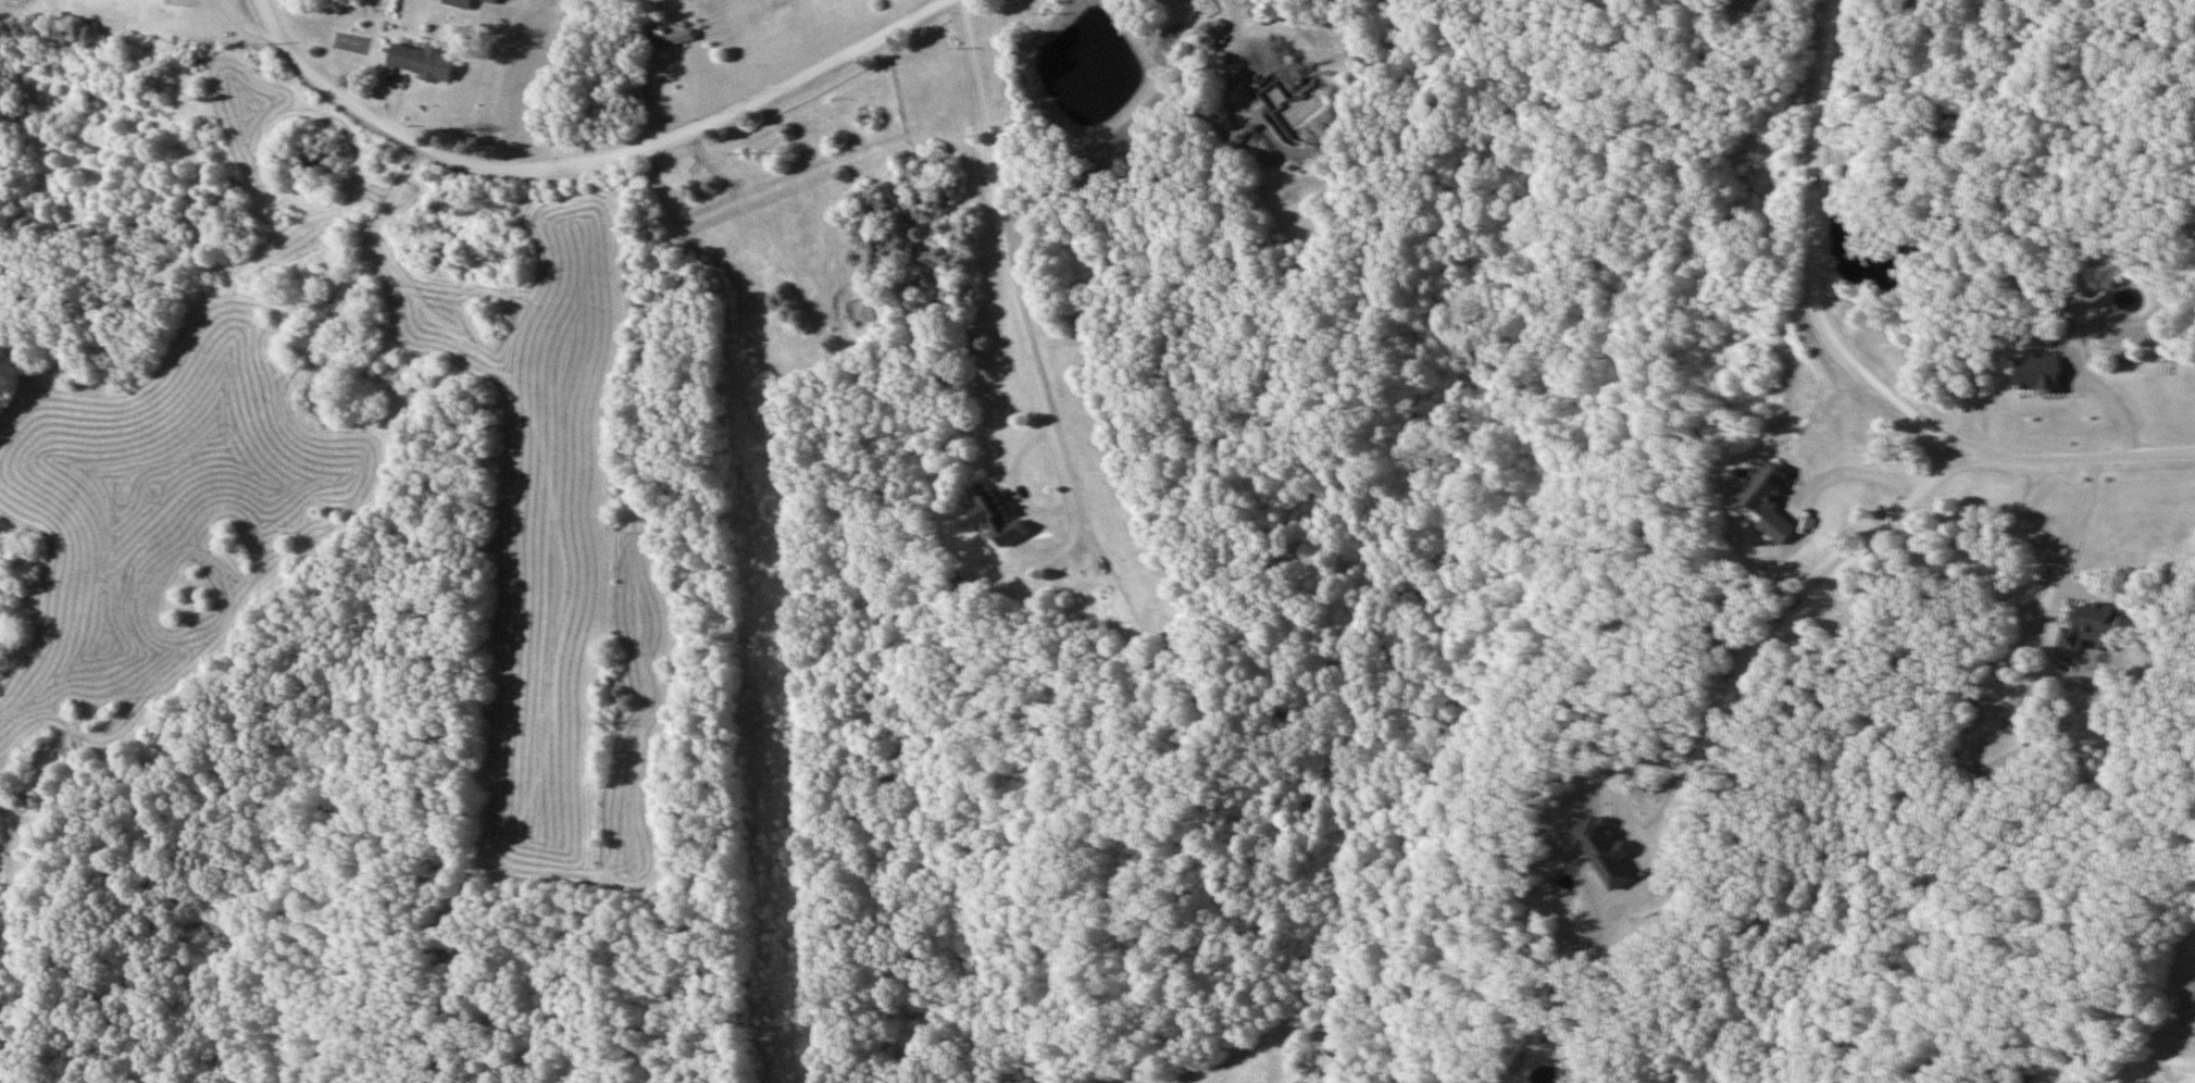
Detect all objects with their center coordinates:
building: (457, 3)
building: (673, 38)
road: (1243, 47)
building: (420, 61)
building: (1289, 104)
power tower: (750, 152)
road: (596, 161)
road: (1015, 290)
road: (1854, 360)
road: (1855, 473)
building: (1771, 502)
building: (999, 513)
power tower: (748, 568)
building: (2094, 626)
road: (2042, 672)
road: (1735, 686)
building: (2009, 755)
power tower: (770, 1040)
road: (2109, 1057)
road: (2190, 1058)
road: (2194, 1082)

